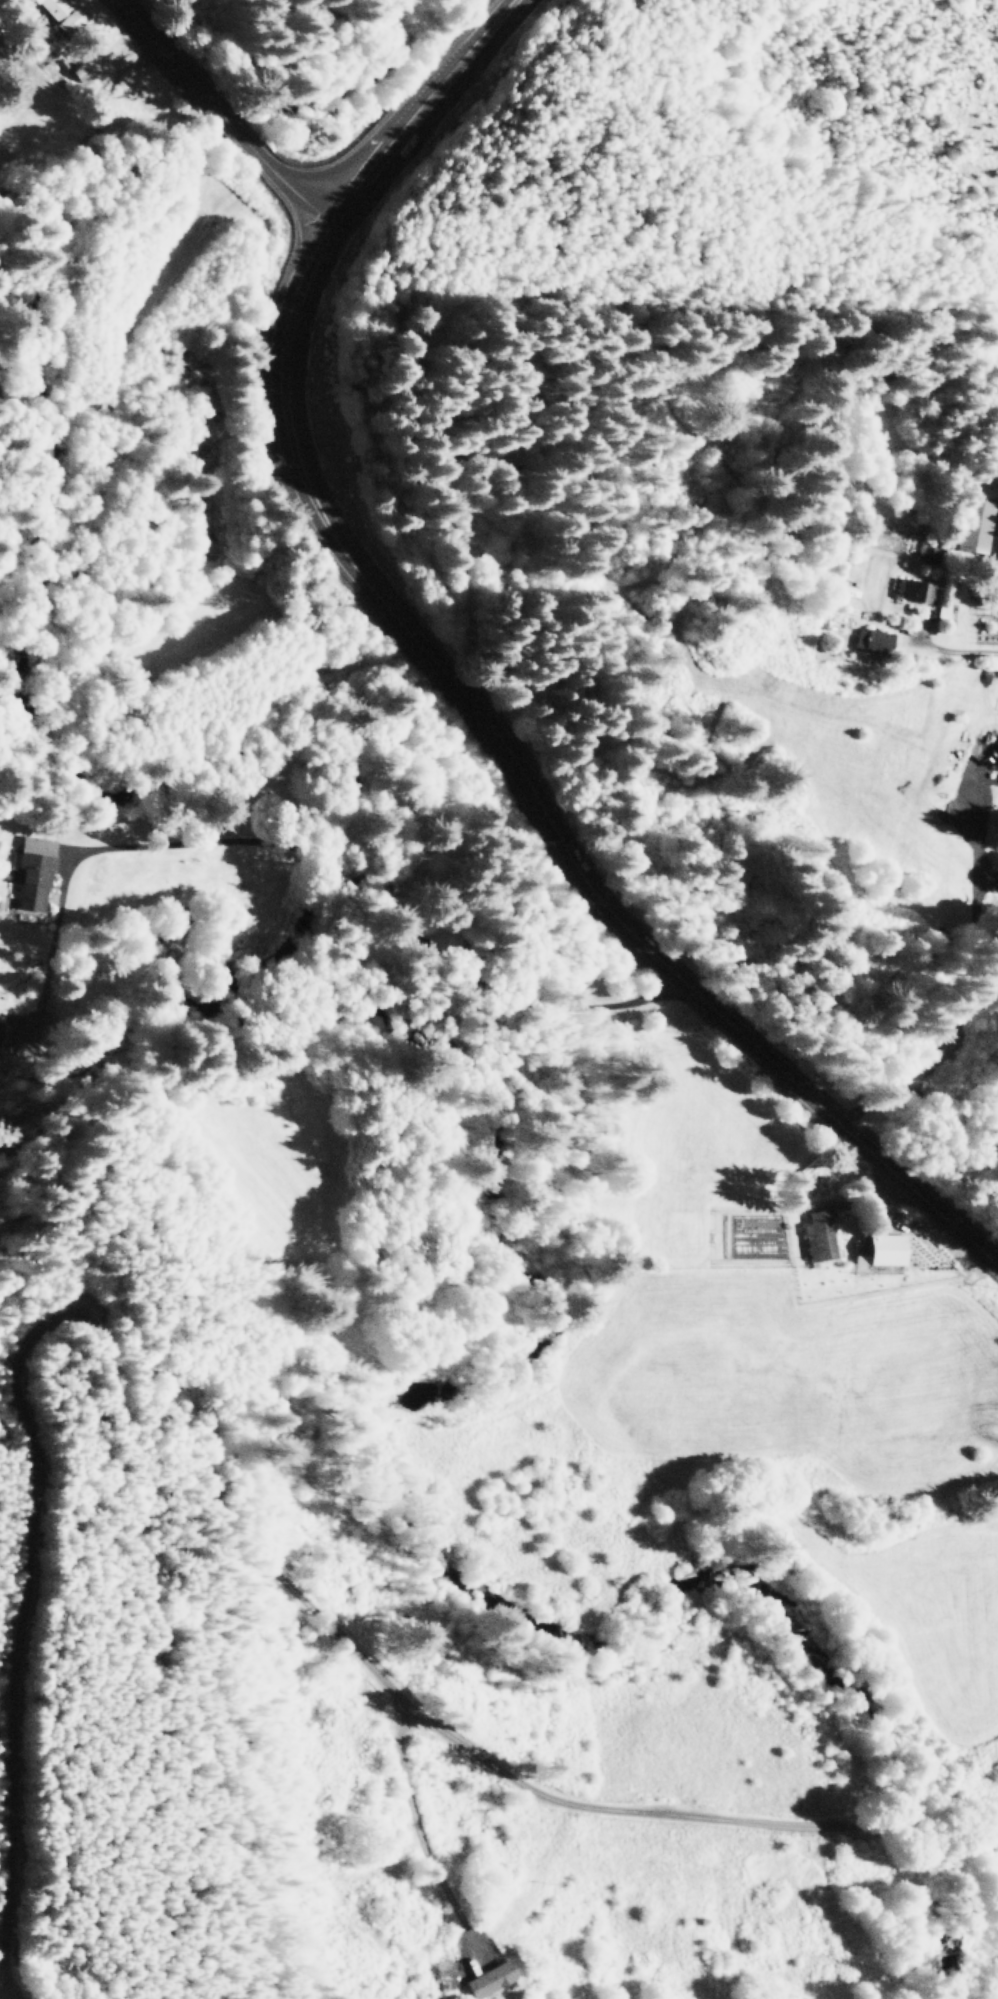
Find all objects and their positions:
building: (58, 13)
road: (417, 105)
road: (224, 110)
building: (973, 523)
building: (915, 590)
building: (870, 639)
road: (530, 791)
road: (360, 857)
building: (31, 871)
building: (817, 1235)
building: (879, 1250)
road: (653, 1814)
road: (418, 1819)
building: (488, 1978)

